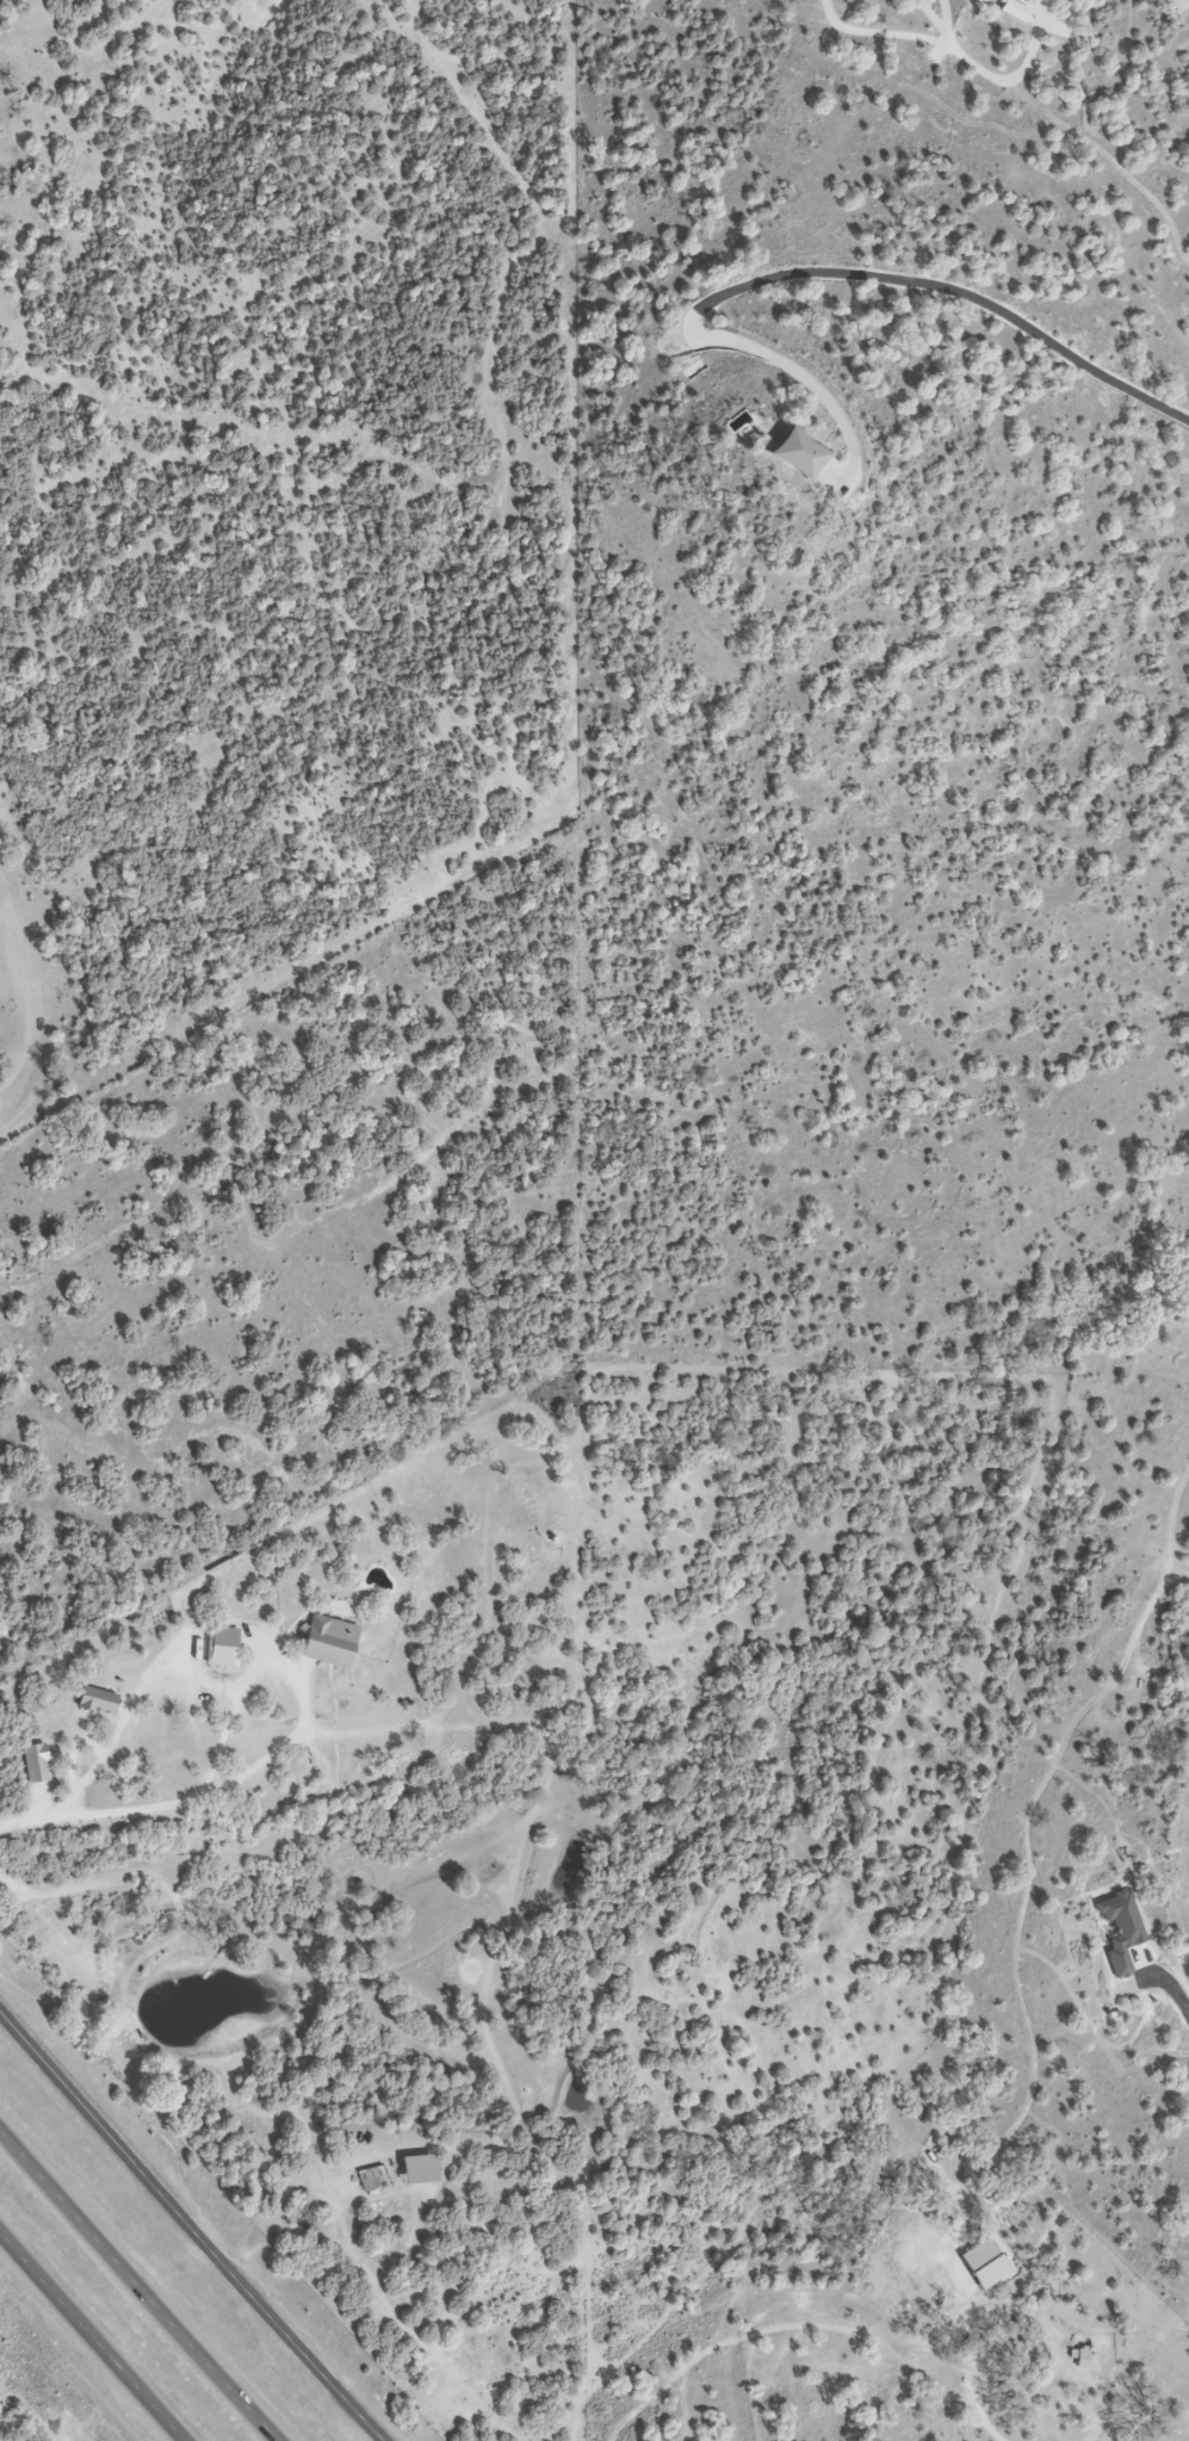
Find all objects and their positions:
road: (828, 269)
building: (10, 1251)
building: (332, 1643)
building: (223, 1648)
road: (293, 1675)
building: (99, 1702)
road: (101, 1819)
road: (1172, 1985)
building: (373, 2176)
road: (193, 2226)
road: (143, 2284)
road: (97, 2334)

